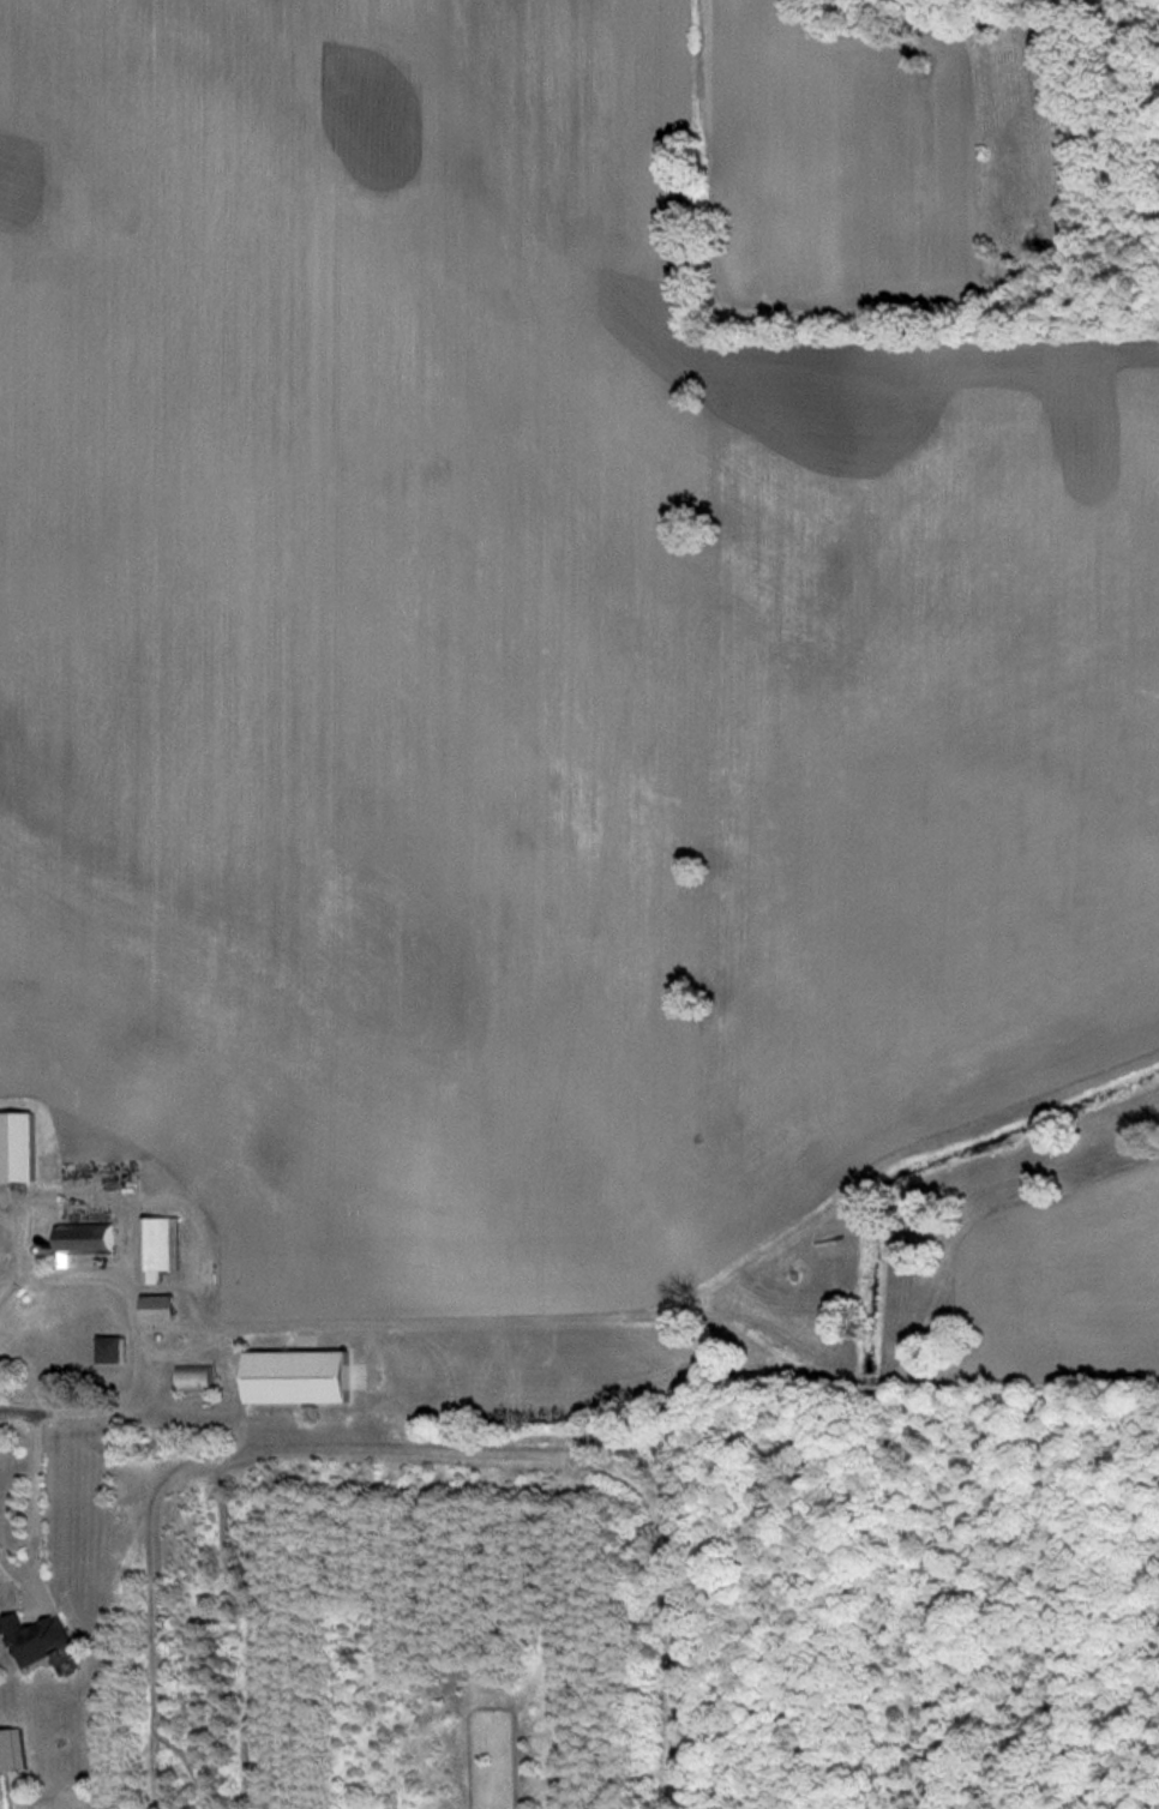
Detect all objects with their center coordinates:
building: (17, 1147)
building: (85, 1240)
building: (160, 1246)
road: (130, 1290)
building: (158, 1308)
building: (110, 1350)
building: (299, 1376)
building: (196, 1377)
road: (49, 1408)
road: (34, 1507)
building: (37, 1637)
building: (11, 1749)

